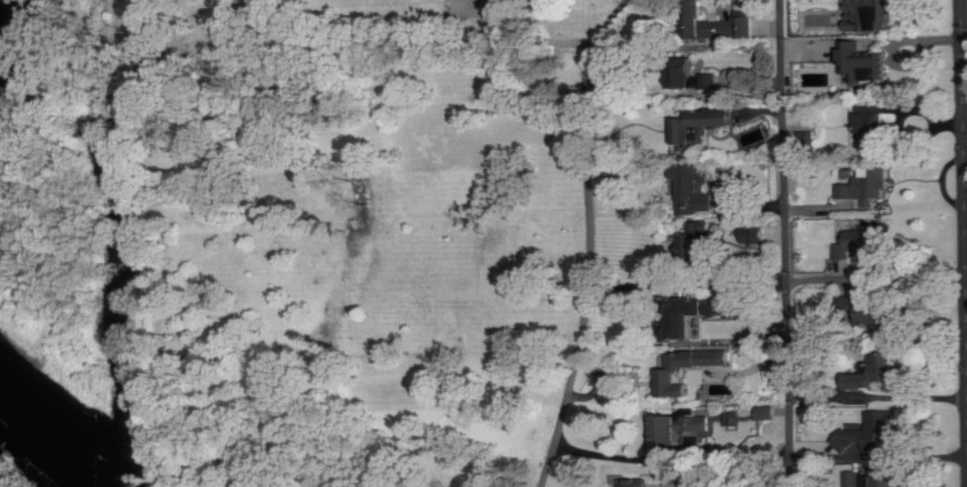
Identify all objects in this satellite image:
building: (871, 15)
building: (726, 29)
road: (965, 34)
building: (865, 62)
building: (696, 80)
building: (875, 123)
building: (702, 125)
road: (964, 138)
building: (744, 141)
building: (868, 186)
building: (698, 191)
building: (758, 234)
road: (590, 239)
building: (700, 239)
building: (867, 241)
road: (786, 243)
road: (877, 279)
road: (688, 284)
building: (703, 311)
building: (880, 314)
building: (760, 326)
building: (688, 369)
building: (877, 371)
river: (90, 383)
building: (767, 412)
building: (705, 423)
building: (667, 431)
building: (873, 432)
road: (613, 455)
road: (878, 458)
building: (674, 476)
building: (872, 480)
building: (635, 482)

